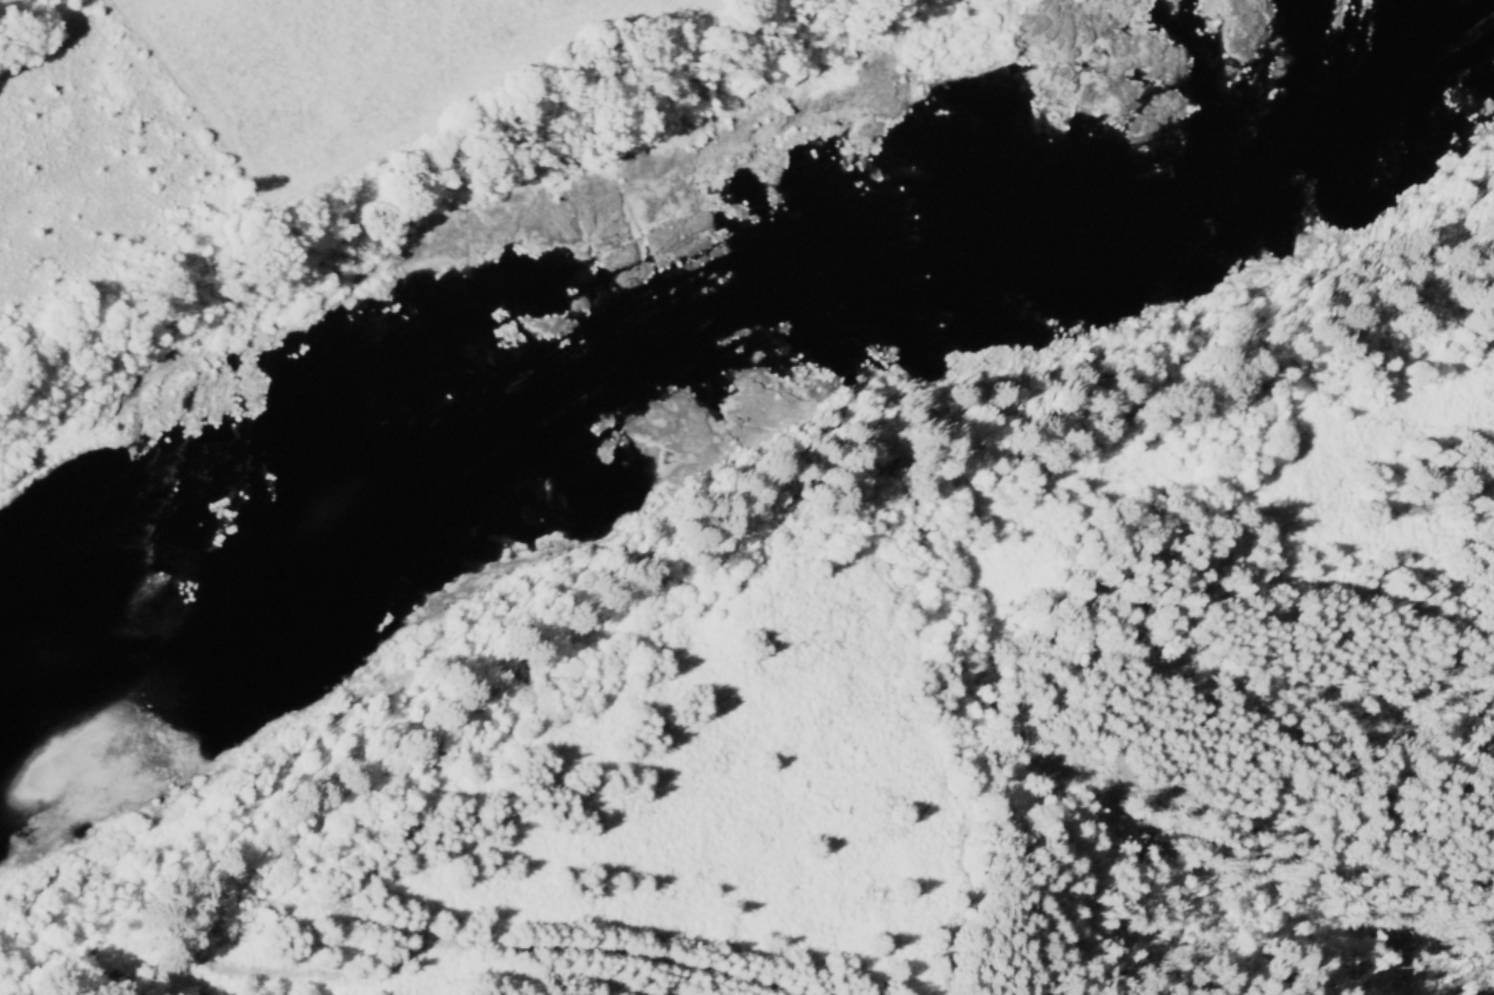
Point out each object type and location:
river: (737, 340)

